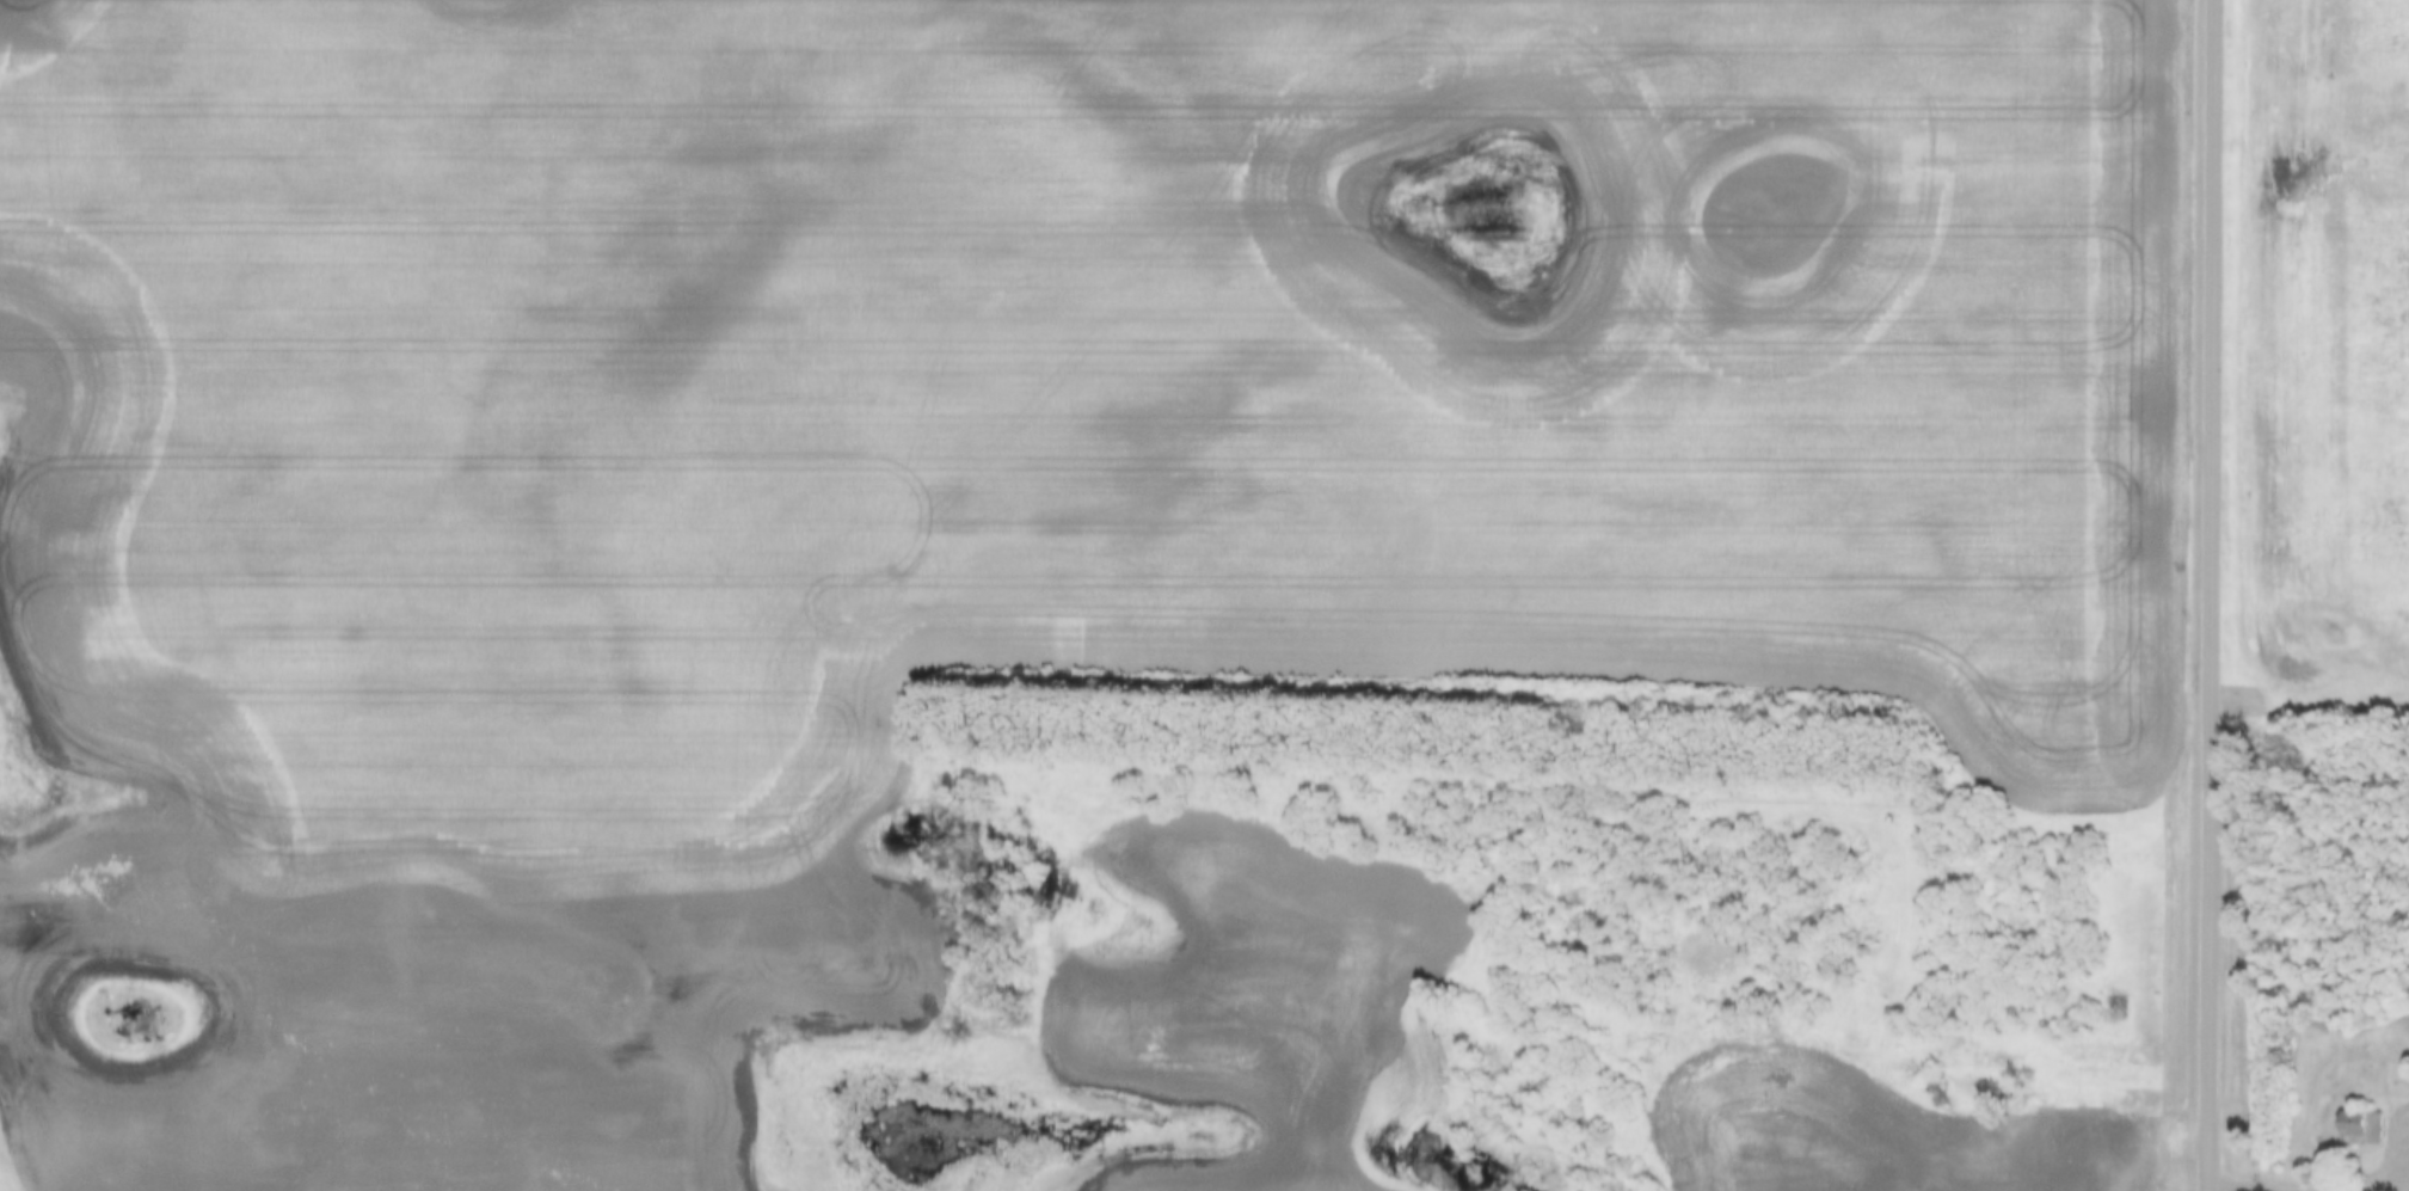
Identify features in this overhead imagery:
road: (2217, 595)
building: (2362, 1130)
road: (2397, 1189)
road: (2242, 1190)

